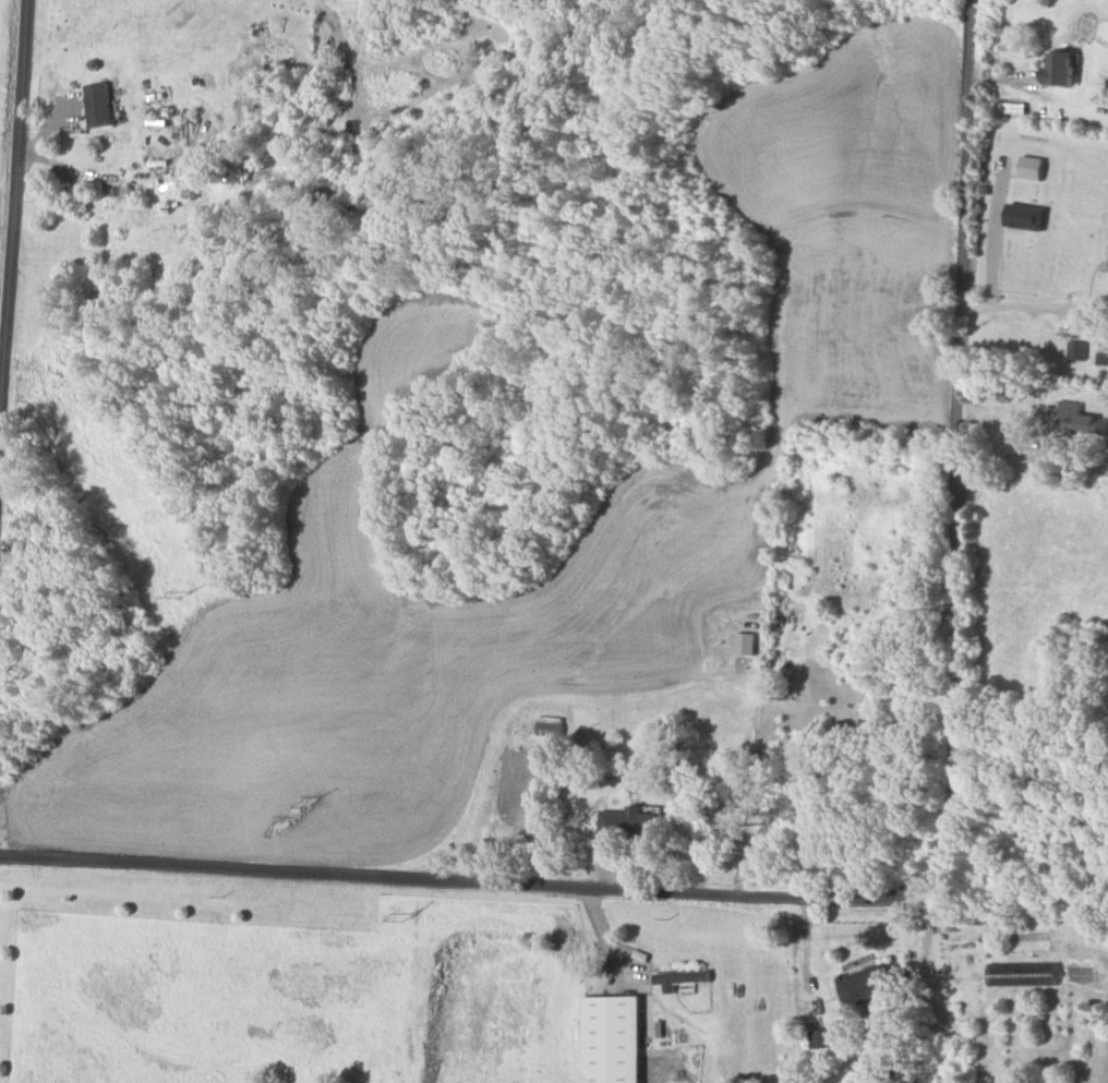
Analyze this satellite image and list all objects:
building: (1059, 68)
crop: (4, 79)
building: (99, 105)
building: (1031, 168)
crop: (1037, 205)
building: (1025, 216)
road: (13, 229)
road: (1033, 303)
power tower: (38, 349)
building: (1075, 350)
road: (958, 412)
building: (1080, 420)
crop: (780, 438)
crop: (1039, 571)
building: (744, 643)
building: (550, 725)
power tower: (297, 803)
building: (628, 823)
road: (493, 875)
power tower: (412, 918)
road: (601, 932)
road: (926, 939)
building: (681, 978)
crop: (277, 979)
building: (867, 985)
building: (613, 1038)
building: (822, 1038)

